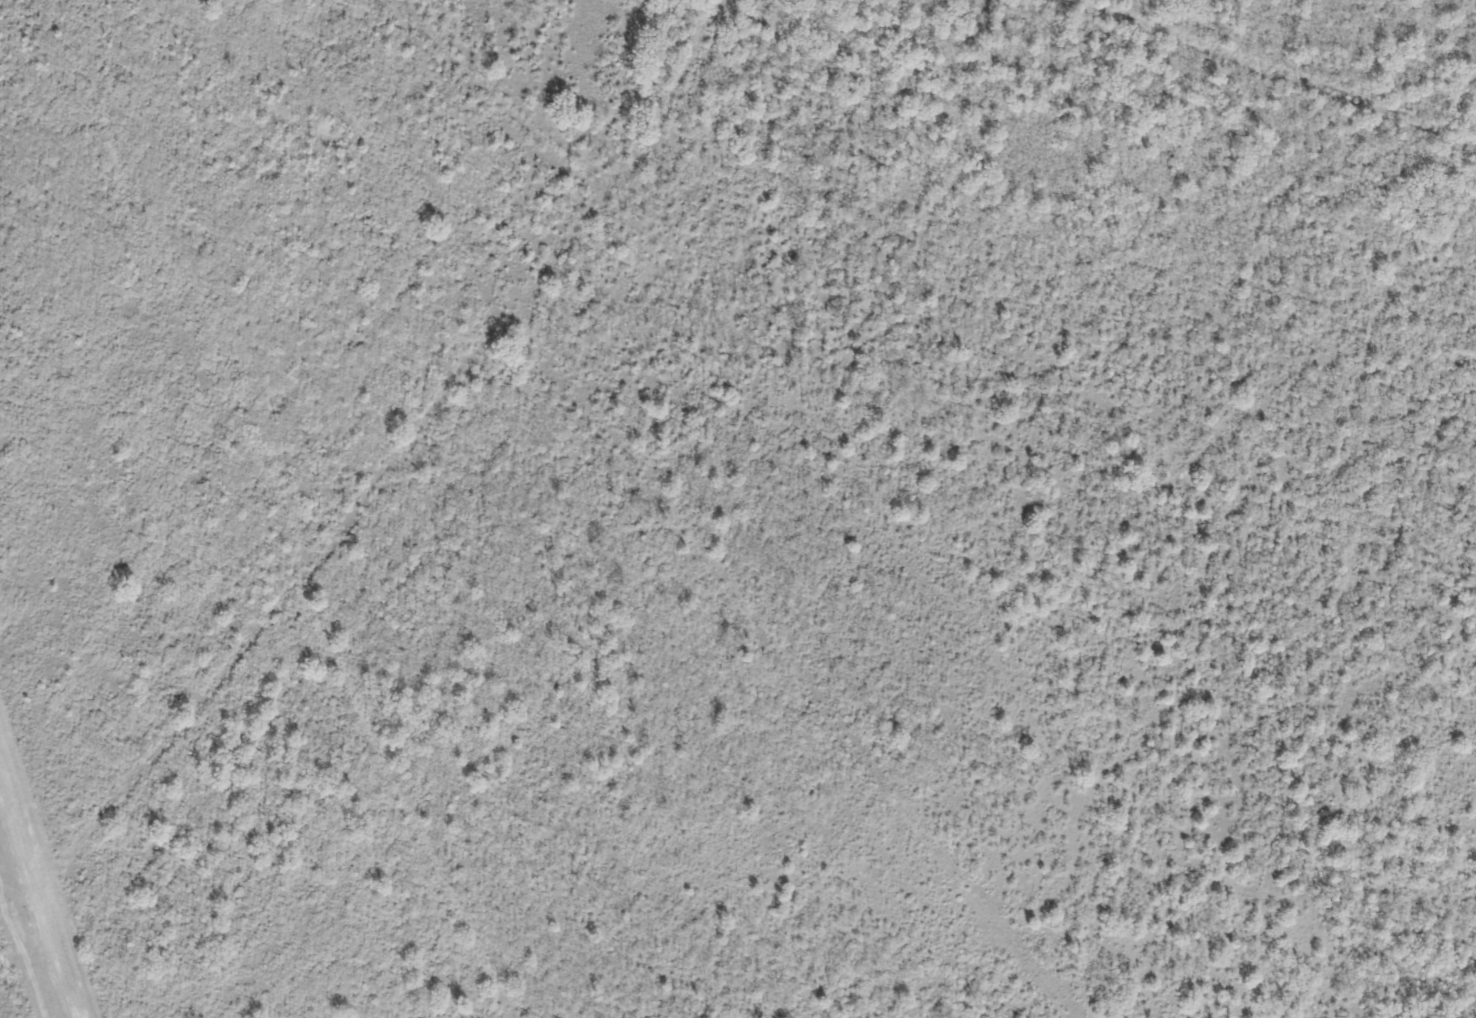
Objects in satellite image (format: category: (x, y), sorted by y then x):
road: (473, 74)

